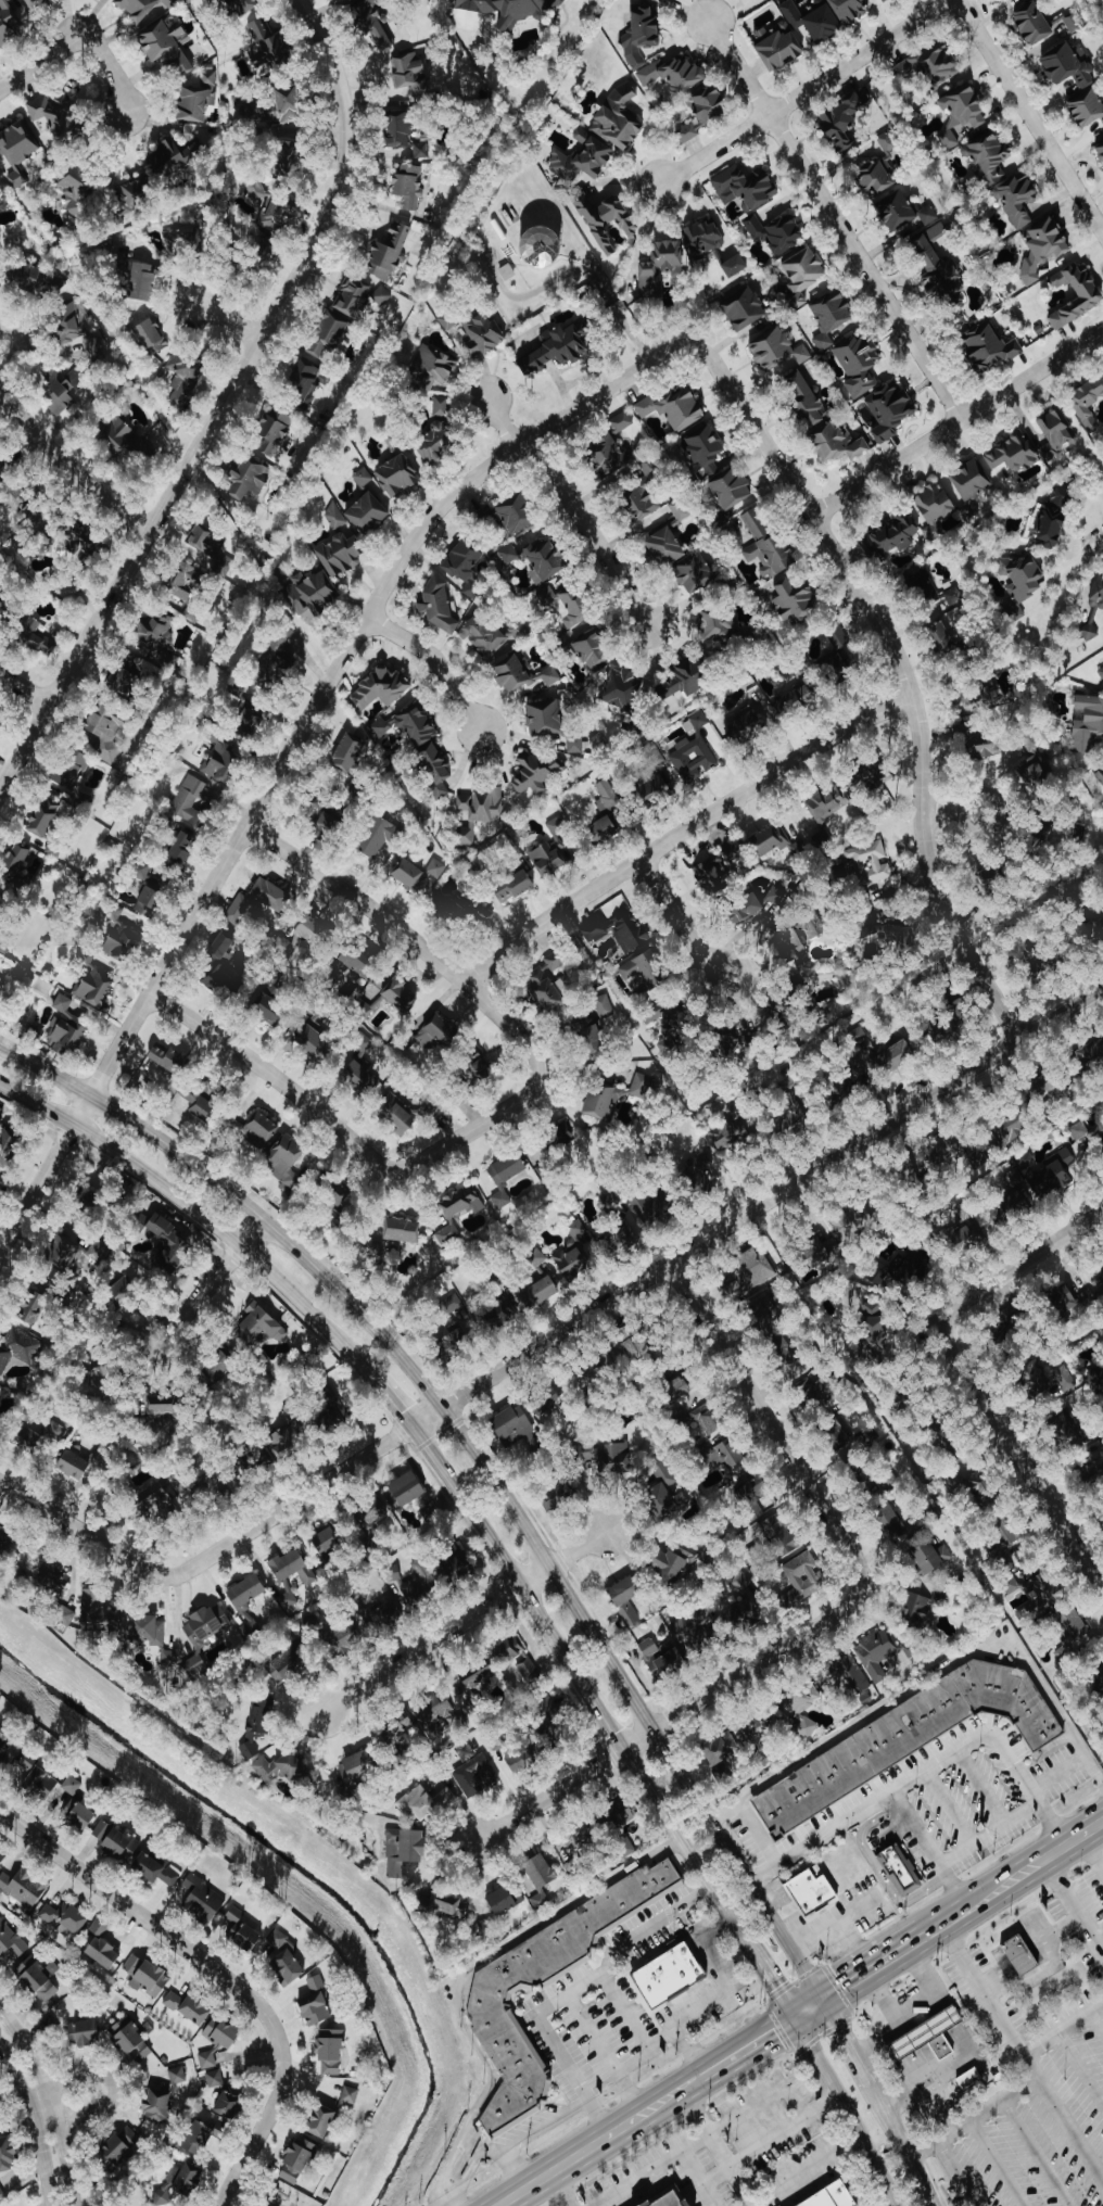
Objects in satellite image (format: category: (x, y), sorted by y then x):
building: (344, 0)
building: (886, 1)
building: (36, 3)
building: (242, 7)
building: (511, 9)
building: (145, 10)
building: (850, 10)
building: (11, 18)
building: (814, 21)
building: (1074, 22)
building: (376, 24)
building: (1034, 24)
building: (643, 36)
building: (168, 46)
building: (269, 48)
building: (778, 48)
road: (39, 61)
building: (933, 65)
building: (1069, 66)
road: (111, 68)
building: (410, 74)
building: (674, 75)
road: (804, 93)
building: (199, 98)
building: (290, 105)
building: (711, 105)
building: (1088, 107)
building: (962, 114)
building: (56, 115)
road: (1029, 116)
building: (620, 119)
building: (846, 119)
building: (400, 130)
road: (637, 141)
building: (888, 141)
building: (18, 151)
building: (423, 151)
building: (1100, 151)
building: (989, 155)
building: (176, 157)
building: (583, 157)
building: (290, 159)
building: (875, 176)
building: (408, 187)
building: (746, 188)
building: (80, 192)
building: (136, 194)
building: (1018, 200)
building: (269, 206)
building: (902, 212)
road: (833, 217)
building: (608, 220)
building: (777, 232)
building: (937, 232)
building: (705, 239)
building: (183, 242)
building: (263, 245)
building: (543, 248)
building: (1043, 249)
building: (390, 251)
building: (736, 266)
building: (661, 268)
building: (937, 271)
building: (508, 272)
building: (804, 275)
building: (28, 277)
building: (142, 283)
building: (52, 284)
road: (599, 284)
building: (359, 297)
building: (1091, 297)
building: (745, 309)
road: (225, 315)
building: (832, 316)
building: (69, 326)
building: (477, 332)
building: (331, 334)
building: (152, 337)
road: (18, 344)
building: (990, 347)
building: (559, 348)
building: (776, 352)
building: (859, 363)
building: (435, 368)
building: (183, 376)
building: (306, 382)
building: (63, 389)
building: (806, 398)
building: (1088, 402)
road: (223, 404)
building: (442, 405)
building: (675, 408)
building: (890, 410)
road: (498, 419)
building: (622, 422)
road: (956, 422)
building: (275, 430)
building: (1055, 432)
building: (137, 438)
building: (438, 443)
building: (839, 444)
building: (707, 449)
building: (1014, 454)
building: (612, 456)
road: (69, 467)
building: (0, 473)
building: (398, 476)
building: (364, 477)
building: (248, 479)
building: (972, 481)
building: (733, 489)
building: (644, 502)
building: (936, 507)
building: (681, 508)
building: (27, 509)
building: (369, 512)
building: (518, 512)
building: (335, 517)
building: (1052, 519)
road: (589, 533)
building: (893, 536)
building: (81, 541)
road: (1099, 541)
building: (769, 546)
building: (213, 548)
building: (664, 548)
building: (341, 554)
building: (509, 554)
building: (547, 559)
building: (466, 565)
road: (1054, 570)
building: (696, 572)
building: (1022, 581)
building: (188, 582)
building: (921, 582)
building: (312, 593)
building: (1098, 593)
building: (547, 595)
building: (954, 595)
building: (795, 601)
building: (576, 604)
building: (440, 606)
building: (193, 612)
building: (719, 626)
building: (518, 631)
building: (1089, 631)
building: (155, 634)
building: (483, 635)
building: (37, 637)
building: (944, 637)
building: (839, 644)
building: (595, 650)
building: (280, 656)
road: (435, 661)
building: (512, 672)
road: (903, 673)
building: (1101, 674)
building: (551, 675)
building: (126, 676)
building: (685, 679)
building: (381, 688)
building: (623, 688)
road: (24, 689)
building: (797, 699)
building: (977, 700)
building: (961, 703)
building: (250, 718)
building: (546, 718)
building: (746, 723)
building: (1088, 723)
building: (1, 726)
building: (107, 732)
building: (576, 743)
building: (420, 744)
building: (987, 745)
road: (291, 746)
building: (694, 751)
building: (348, 752)
building: (224, 762)
building: (73, 769)
building: (1040, 770)
building: (537, 773)
building: (1100, 776)
building: (871, 778)
building: (655, 785)
building: (607, 795)
building: (190, 801)
building: (828, 803)
building: (479, 807)
road: (951, 813)
building: (45, 817)
building: (335, 819)
building: (558, 827)
building: (604, 828)
building: (467, 833)
road: (683, 833)
building: (380, 835)
building: (769, 840)
building: (798, 848)
building: (181, 851)
building: (548, 859)
building: (737, 859)
building: (872, 860)
building: (16, 862)
building: (144, 871)
building: (419, 875)
building: (715, 884)
building: (515, 886)
building: (151, 898)
building: (258, 901)
building: (2, 905)
building: (760, 908)
building: (460, 911)
building: (114, 912)
road: (674, 912)
building: (869, 924)
building: (815, 926)
building: (593, 931)
road: (403, 933)
building: (632, 933)
building: (305, 935)
building: (901, 936)
building: (123, 942)
building: (5, 944)
building: (791, 947)
building: (557, 959)
building: (360, 961)
road: (709, 963)
building: (1048, 965)
building: (220, 967)
building: (644, 973)
building: (96, 988)
building: (548, 990)
building: (401, 994)
building: (274, 1003)
building: (605, 1005)
building: (835, 1005)
building: (782, 1006)
building: (1073, 1010)
building: (963, 1012)
building: (668, 1015)
building: (66, 1028)
building: (940, 1030)
building: (859, 1034)
building: (440, 1035)
building: (592, 1037)
building: (316, 1043)
building: (365, 1044)
building: (732, 1044)
building: (1092, 1054)
building: (893, 1056)
building: (170, 1060)
building: (481, 1070)
road: (274, 1077)
building: (362, 1078)
building: (1051, 1081)
building: (839, 1092)
building: (613, 1095)
building: (205, 1100)
building: (430, 1110)
building: (400, 1116)
building: (798, 1118)
road: (473, 1127)
building: (734, 1127)
building: (1014, 1128)
building: (261, 1130)
building: (1088, 1133)
building: (562, 1134)
building: (7, 1148)
building: (940, 1152)
building: (286, 1162)
building: (1042, 1171)
building: (701, 1175)
building: (507, 1176)
building: (923, 1181)
building: (91, 1201)
building: (462, 1202)
building: (610, 1202)
road: (193, 1209)
building: (654, 1209)
building: (1001, 1216)
building: (578, 1228)
building: (403, 1230)
building: (446, 1235)
building: (966, 1238)
building: (169, 1243)
building: (823, 1250)
building: (74, 1253)
building: (536, 1258)
building: (571, 1259)
road: (1017, 1266)
building: (911, 1267)
building: (751, 1273)
building: (879, 1273)
road: (212, 1279)
road: (637, 1281)
building: (123, 1289)
building: (541, 1292)
building: (1073, 1303)
building: (453, 1304)
building: (34, 1307)
building: (500, 1314)
building: (1013, 1316)
building: (764, 1319)
building: (261, 1326)
building: (876, 1327)
building: (631, 1331)
building: (460, 1342)
building: (18, 1348)
building: (638, 1348)
building: (787, 1355)
building: (219, 1366)
building: (596, 1374)
building: (106, 1375)
building: (1095, 1380)
building: (1054, 1381)
building: (681, 1387)
building: (814, 1392)
building: (0, 1393)
road: (386, 1397)
building: (167, 1405)
building: (337, 1411)
road: (765, 1417)
building: (708, 1420)
building: (1068, 1425)
building: (517, 1430)
building: (40, 1433)
building: (290, 1435)
building: (852, 1440)
road: (474, 1454)
building: (723, 1455)
building: (99, 1456)
road: (1027, 1457)
building: (614, 1459)
building: (75, 1466)
building: (664, 1471)
building: (867, 1481)
building: (207, 1486)
building: (408, 1488)
building: (752, 1489)
building: (982, 1489)
building: (558, 1496)
building: (160, 1498)
building: (664, 1503)
building: (370, 1513)
building: (892, 1521)
road: (85, 1533)
building: (782, 1535)
building: (327, 1542)
building: (8, 1544)
building: (1005, 1547)
building: (933, 1557)
building: (674, 1563)
building: (293, 1568)
building: (457, 1570)
building: (804, 1575)
building: (53, 1579)
building: (741, 1581)
building: (421, 1583)
building: (248, 1592)
building: (1042, 1596)
building: (626, 1599)
building: (288, 1600)
building: (918, 1609)
building: (745, 1611)
building: (100, 1613)
building: (389, 1613)
building: (65, 1614)
road: (464, 1621)
building: (207, 1624)
building: (250, 1628)
building: (696, 1630)
building: (148, 1631)
building: (1075, 1635)
building: (342, 1639)
building: (876, 1653)
building: (517, 1657)
building: (662, 1658)
building: (169, 1659)
building: (194, 1665)
building: (288, 1665)
building: (851, 1677)
building: (476, 1685)
road: (582, 1685)
road: (915, 1687)
building: (806, 1700)
road: (677, 1713)
building: (438, 1716)
building: (258, 1723)
building: (555, 1723)
building: (766, 1726)
building: (807, 1728)
building: (393, 1733)
building: (909, 1738)
building: (5, 1744)
building: (721, 1749)
building: (466, 1752)
road: (935, 1759)
road: (1070, 1759)
building: (27, 1763)
building: (358, 1765)
building: (283, 1768)
building: (476, 1775)
building: (41, 1782)
building: (72, 1785)
building: (424, 1803)
building: (79, 1814)
building: (627, 1815)
road: (756, 1831)
road: (816, 1833)
road: (986, 1835)
building: (582, 1836)
building: (116, 1839)
road: (1073, 1840)
building: (405, 1849)
road: (1093, 1849)
building: (3, 1854)
building: (573, 1863)
building: (155, 1869)
building: (901, 1869)
building: (541, 1877)
road: (1004, 1885)
building: (24, 1887)
building: (812, 1891)
building: (203, 1899)
building: (505, 1899)
road: (1068, 1899)
building: (446, 1901)
building: (65, 1917)
road: (951, 1917)
road: (651, 1924)
road: (836, 1926)
road: (927, 1926)
building: (241, 1928)
building: (278, 1939)
building: (10, 1940)
road: (1095, 1940)
building: (103, 1945)
road: (842, 1948)
building: (1022, 1954)
road: (866, 1957)
building: (290, 1965)
road: (887, 1972)
building: (148, 1974)
road: (217, 1974)
building: (671, 1974)
traffic signals: (837, 1977)
building: (39, 1978)
building: (316, 1982)
road: (775, 1987)
traffic signals: (775, 1987)
road: (979, 1991)
road: (725, 1992)
road: (933, 1994)
building: (489, 1998)
road: (802, 1999)
building: (174, 2000)
road: (822, 2000)
road: (548, 2003)
building: (316, 2008)
building: (196, 2010)
road: (814, 2018)
traffic signals: (842, 2029)
building: (85, 2032)
building: (224, 2032)
building: (929, 2036)
building: (132, 2040)
road: (878, 2040)
traffic signals: (779, 2041)
road: (645, 2043)
road: (731, 2043)
road: (964, 2043)
building: (331, 2052)
road: (915, 2054)
road: (753, 2056)
road: (860, 2058)
building: (207, 2059)
building: (178, 2074)
building: (215, 2079)
road: (1022, 2084)
road: (112, 2087)
road: (695, 2087)
road: (630, 2088)
road: (680, 2089)
building: (350, 2095)
road: (662, 2100)
building: (0, 2102)
road: (50, 2102)
road: (760, 2102)
building: (157, 2105)
building: (230, 2105)
road: (594, 2110)
road: (849, 2115)
building: (324, 2120)
road: (626, 2123)
road: (34, 2125)
road: (702, 2127)
road: (1068, 2129)
road: (528, 2137)
building: (205, 2138)
road: (769, 2139)
building: (123, 2145)
building: (8, 2153)
road: (909, 2158)
building: (297, 2159)
road: (461, 2166)
road: (553, 2170)
road: (959, 2171)
road: (810, 2173)
road: (697, 2180)
building: (180, 2181)
road: (641, 2181)
road: (559, 2190)
building: (1, 2194)
building: (834, 2196)
building: (670, 2198)
road: (892, 2205)

